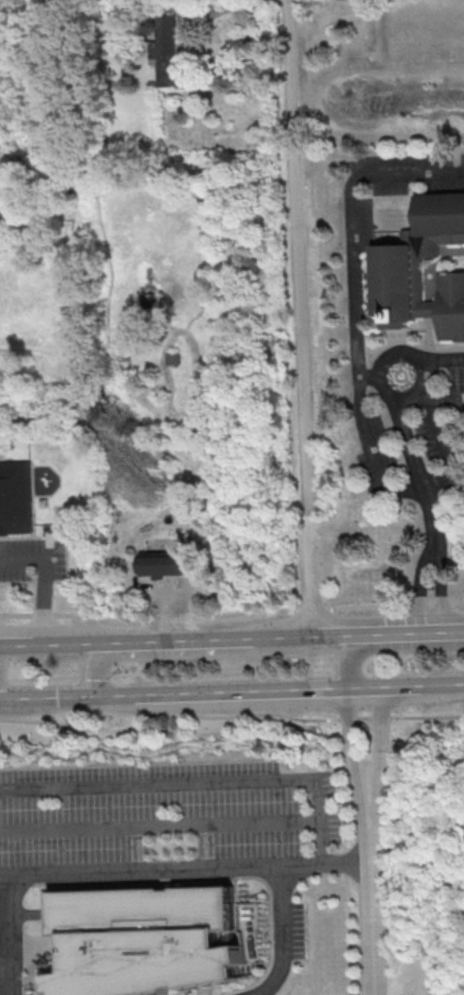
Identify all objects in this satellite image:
road: (214, 5)
building: (170, 54)
parking lot: (394, 184)
road: (299, 257)
building: (419, 272)
road: (354, 301)
road: (438, 359)
road: (414, 361)
road: (368, 375)
parking lot: (455, 377)
road: (444, 404)
road: (443, 446)
road: (414, 463)
building: (17, 498)
parking lot: (31, 559)
building: (165, 562)
road: (312, 574)
road: (44, 577)
road: (442, 586)
road: (420, 587)
road: (232, 616)
road: (414, 634)
road: (340, 636)
road: (286, 637)
road: (194, 639)
road: (88, 641)
road: (22, 642)
road: (348, 659)
road: (96, 665)
road: (454, 684)
road: (283, 690)
road: (61, 695)
traffic signals: (122, 695)
road: (231, 715)
road: (379, 739)
road: (351, 740)
road: (199, 779)
road: (160, 825)
road: (346, 862)
road: (161, 867)
road: (371, 891)
road: (7, 934)
road: (282, 936)
building: (154, 941)

